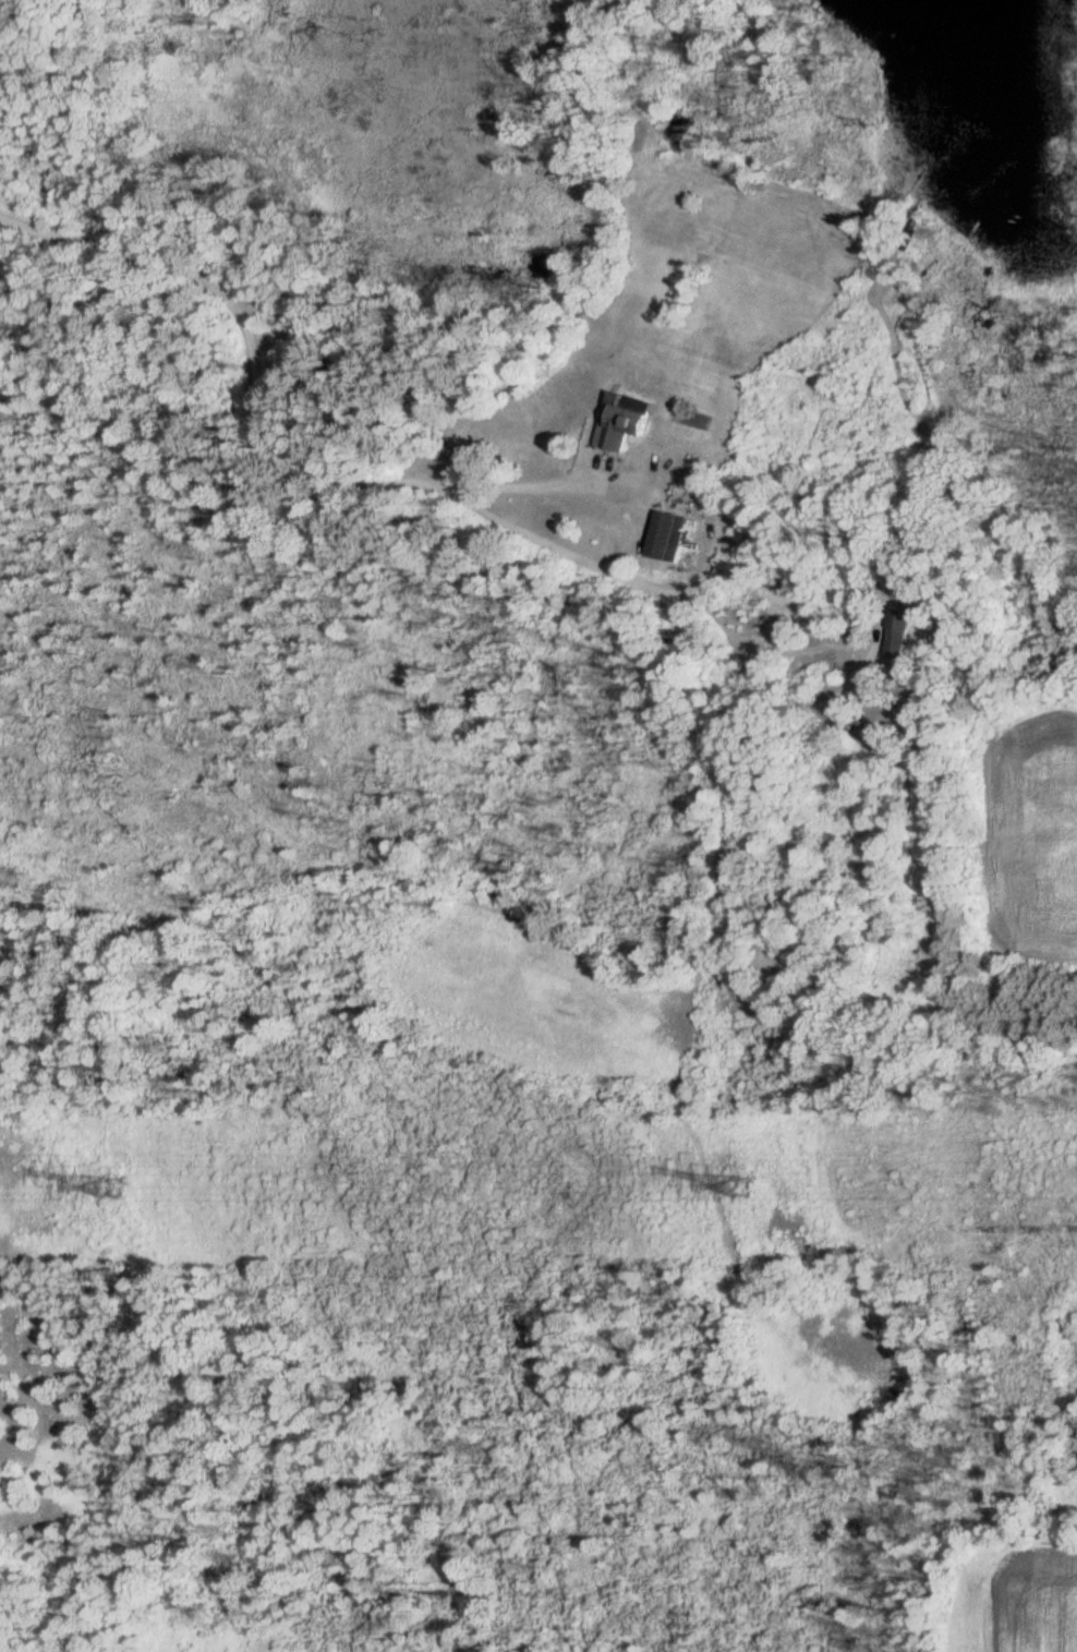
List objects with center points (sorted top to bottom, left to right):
road: (261, 398)
building: (629, 423)
building: (670, 539)
building: (901, 642)
power tower: (110, 1184)
power tower: (745, 1186)

